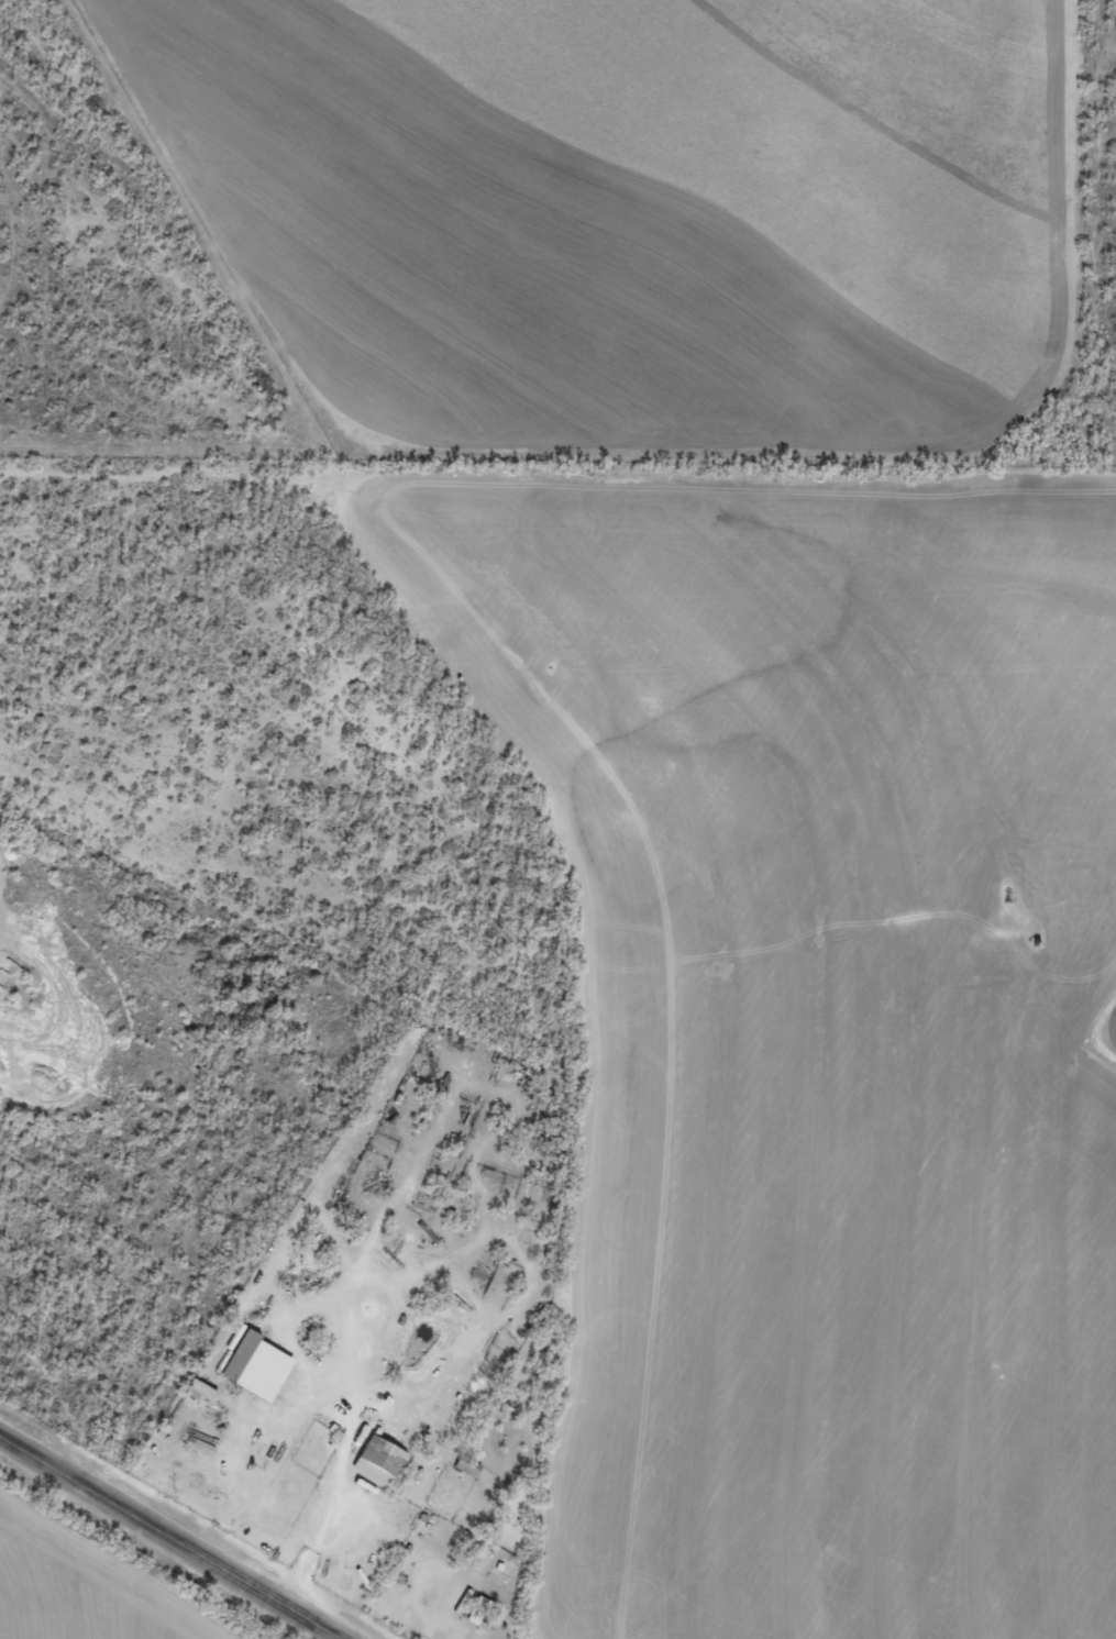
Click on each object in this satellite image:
building: (200, 1391)
building: (379, 1461)
road: (152, 1549)

